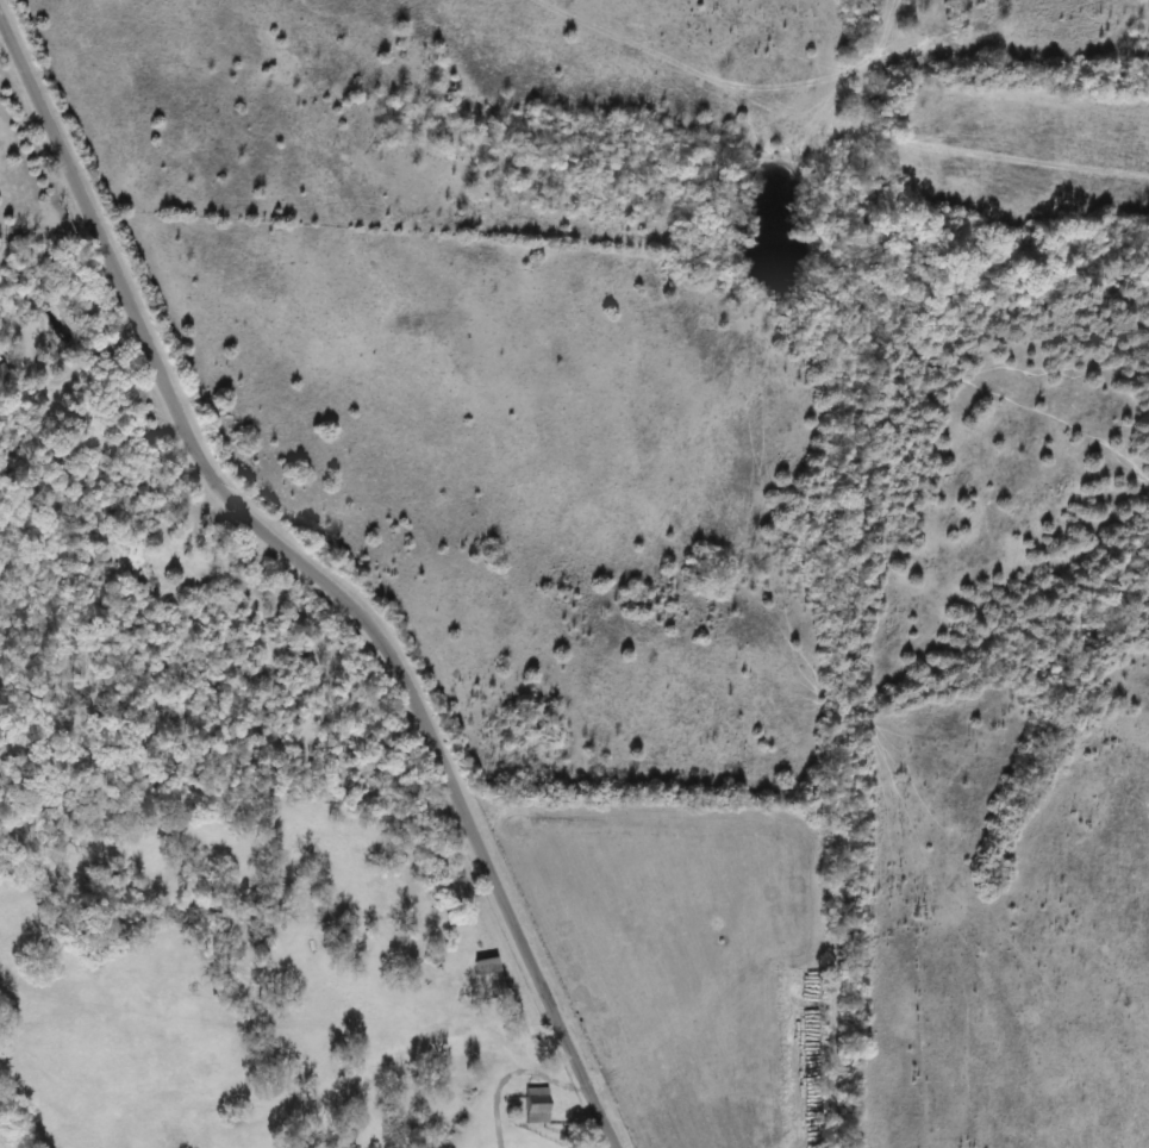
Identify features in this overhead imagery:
road: (44, 227)
road: (319, 578)
building: (485, 966)
building: (533, 1106)

